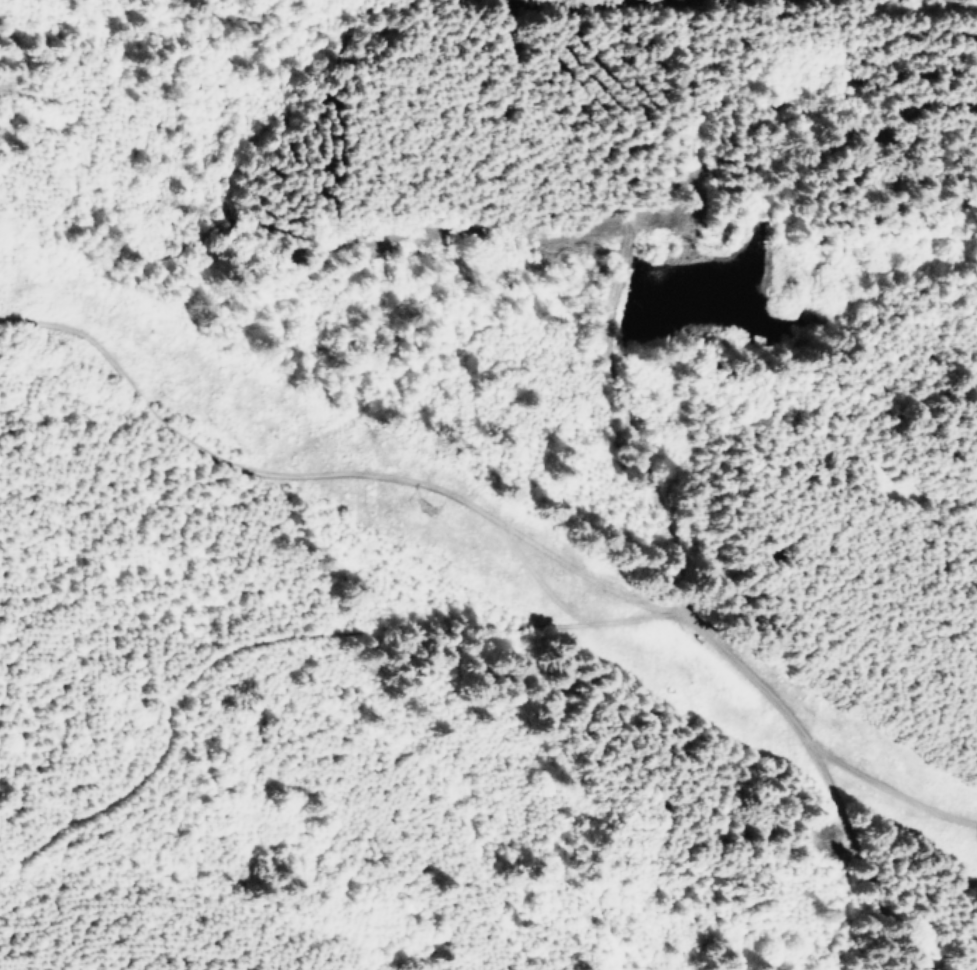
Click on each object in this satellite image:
road: (282, 404)
power tower: (424, 500)
road: (676, 502)
road: (409, 592)
road: (276, 750)

